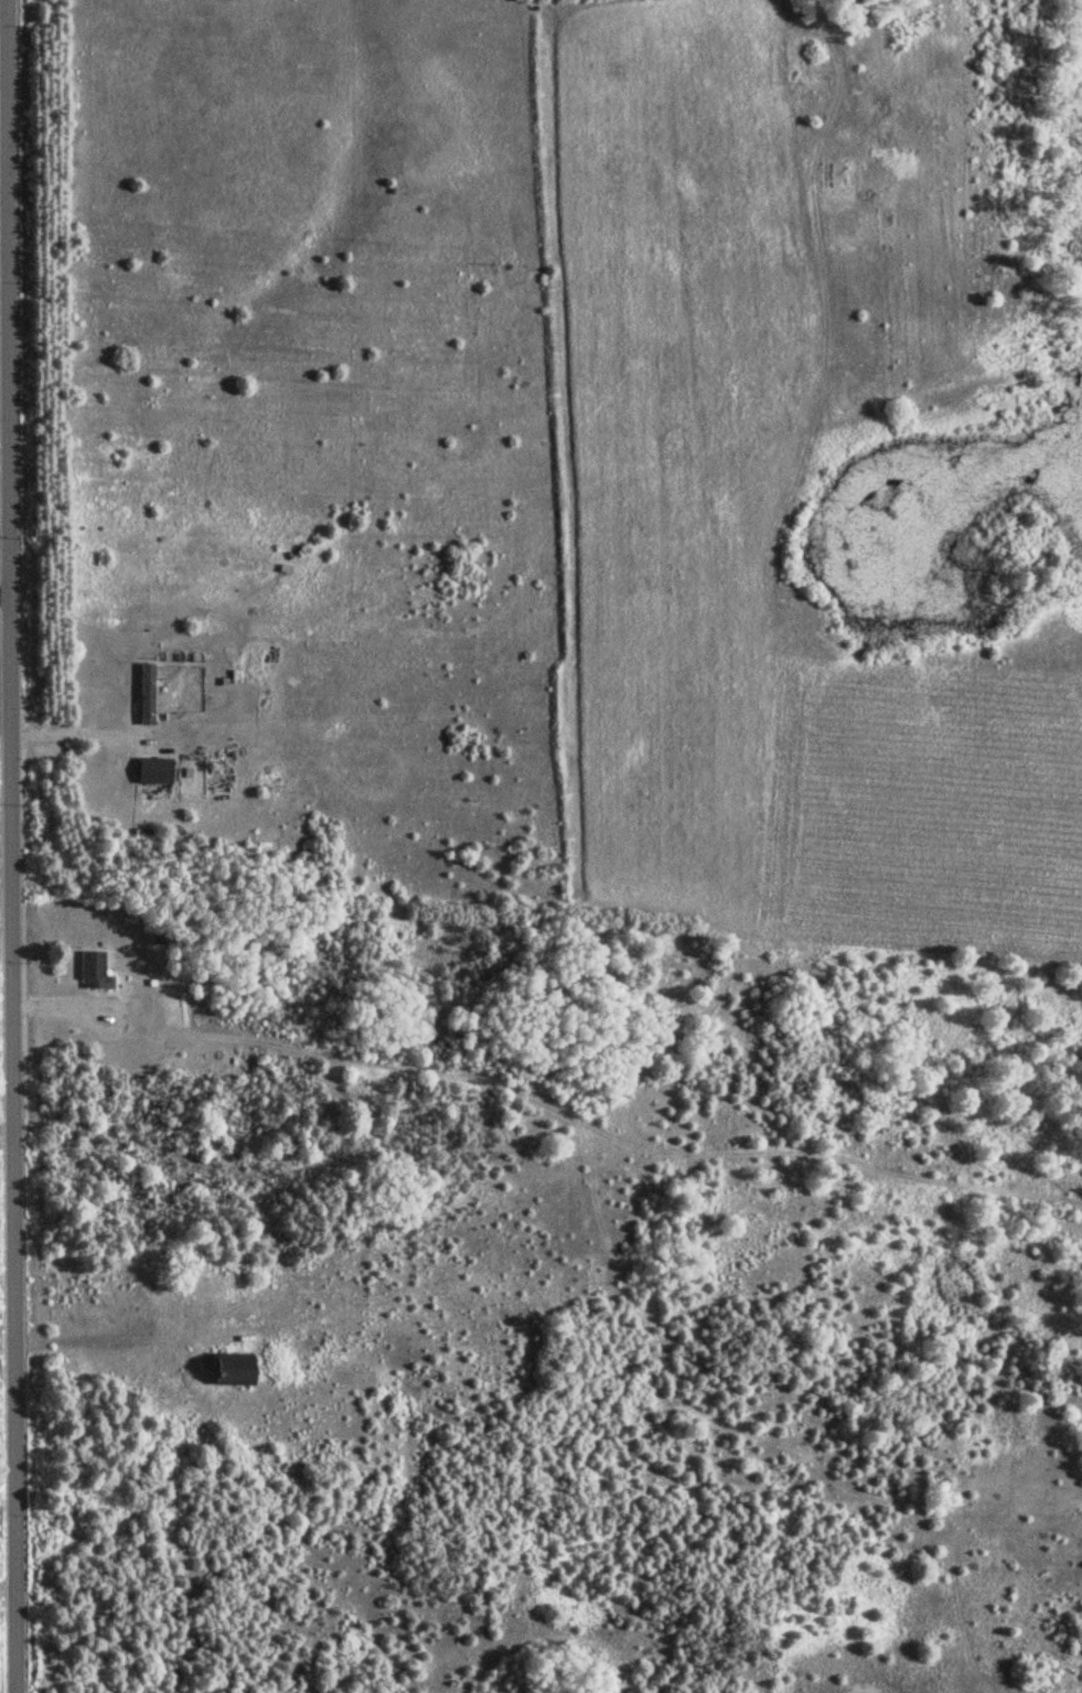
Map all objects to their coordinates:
building: (147, 693)
building: (152, 771)
road: (10, 846)
building: (93, 972)
building: (226, 1370)

